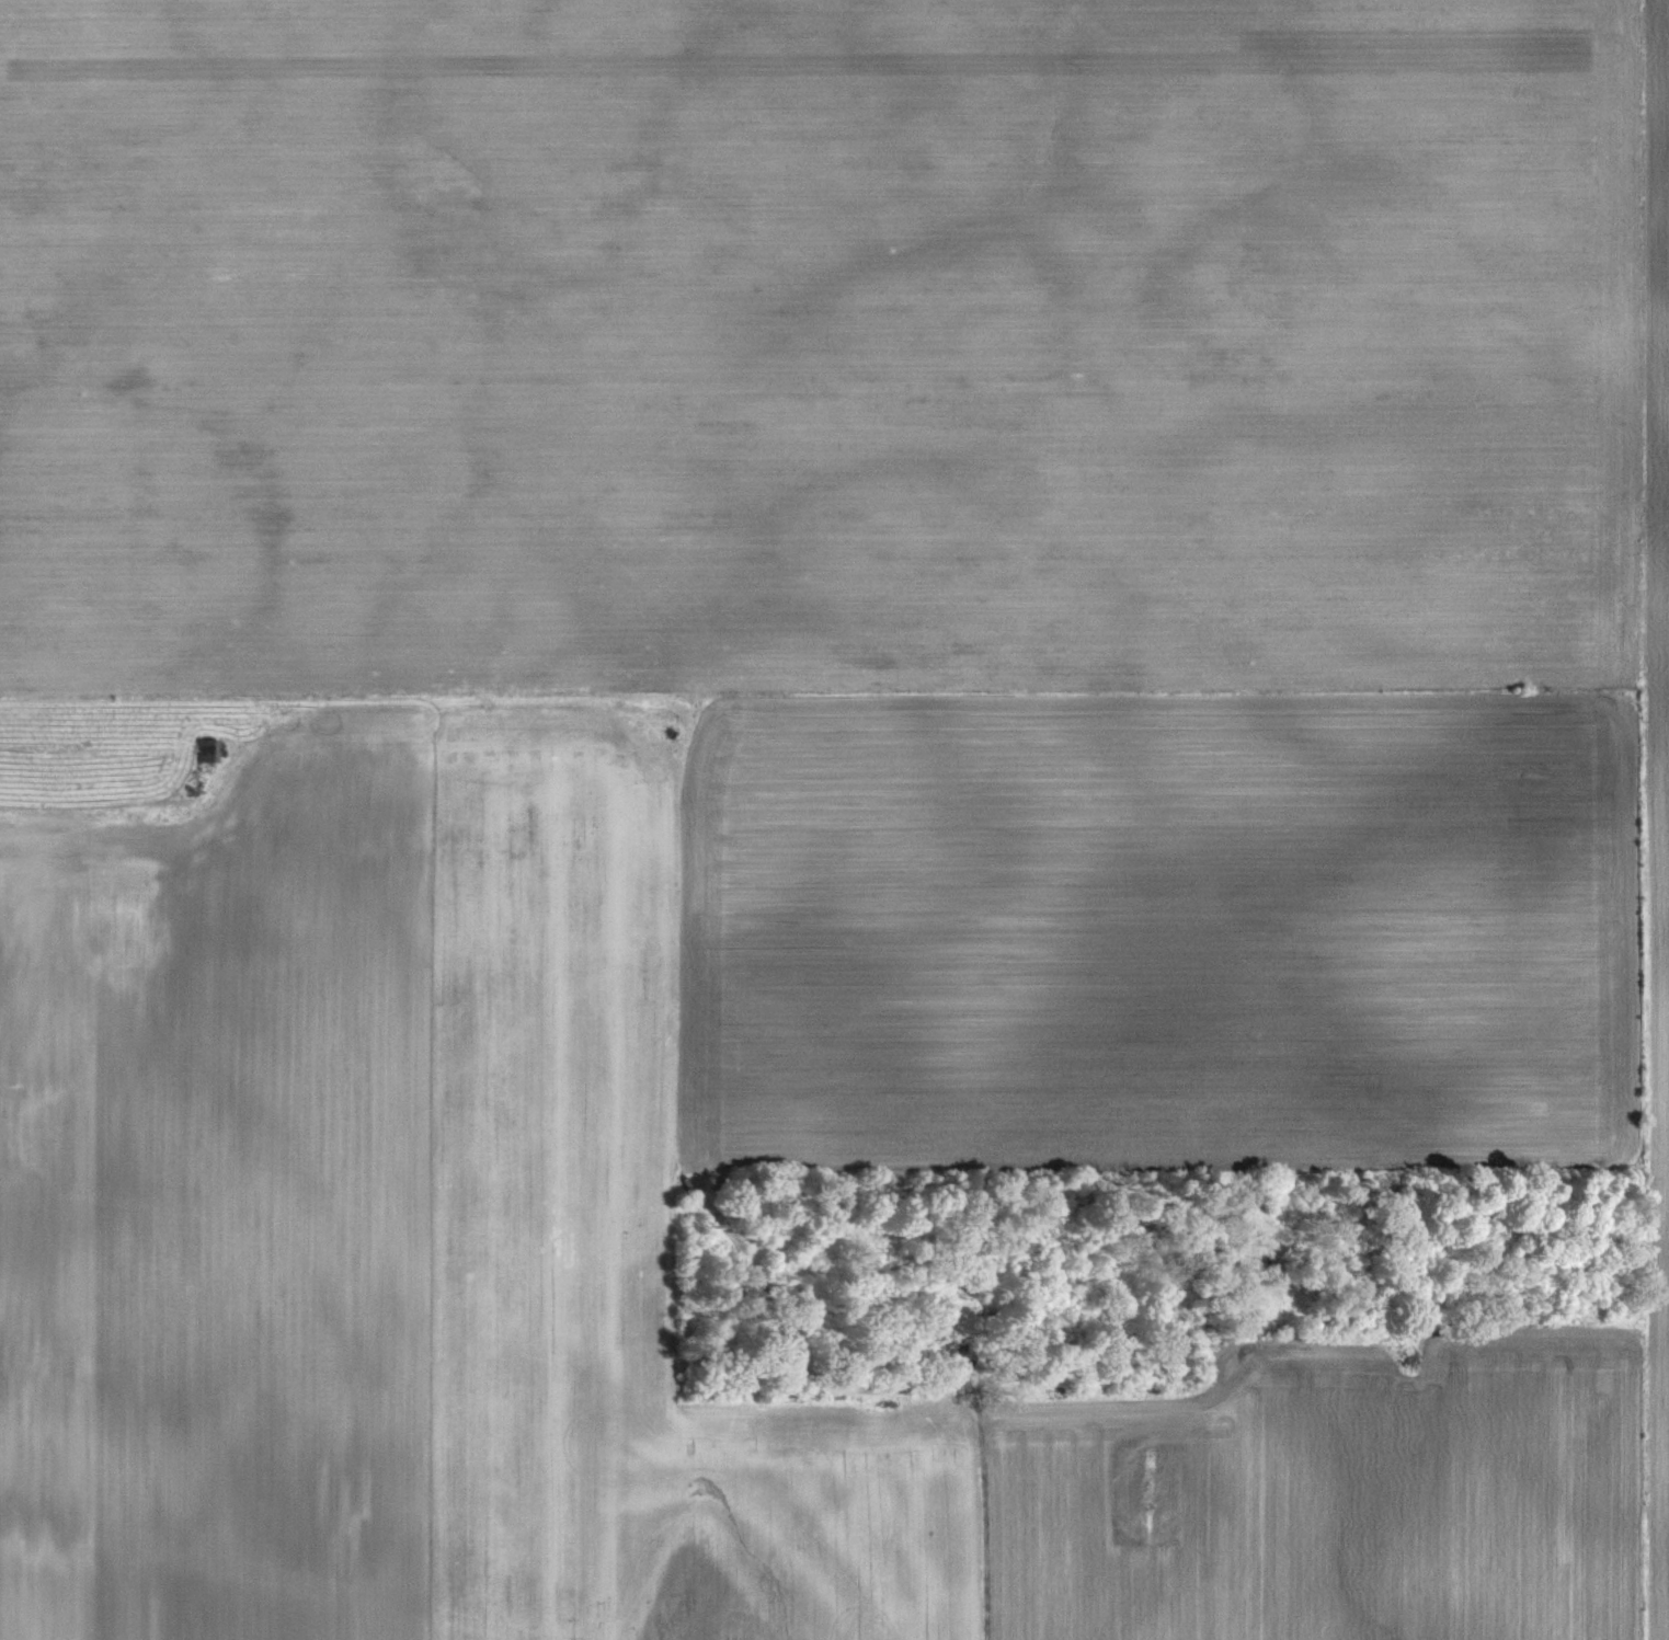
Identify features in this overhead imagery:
building: (206, 750)

